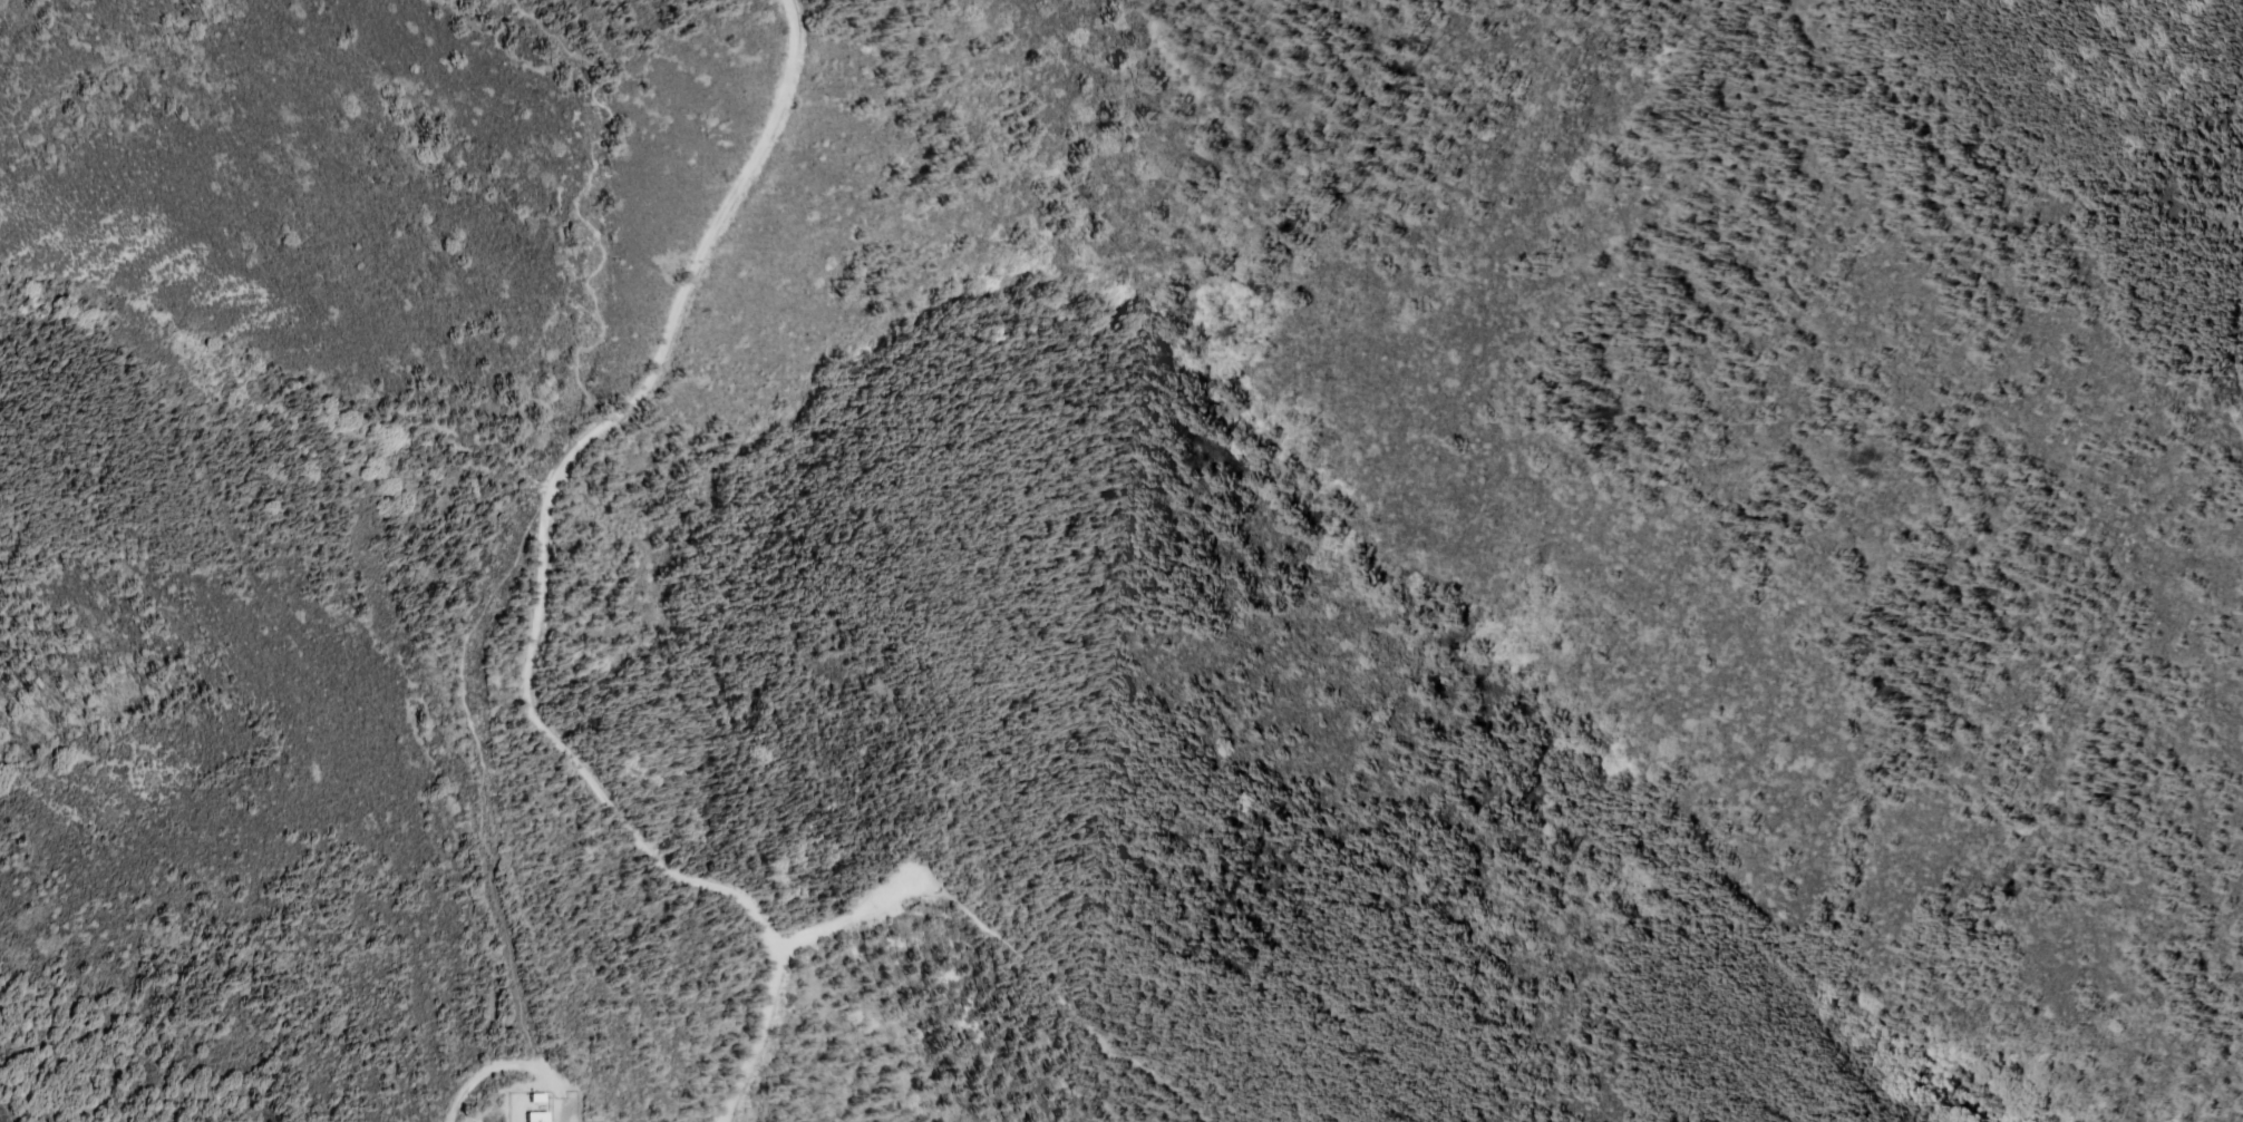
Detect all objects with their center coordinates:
road: (541, 587)
road: (858, 908)
road: (1068, 1003)
road: (507, 1067)
building: (537, 1096)
building: (536, 1115)
building: (521, 1118)

